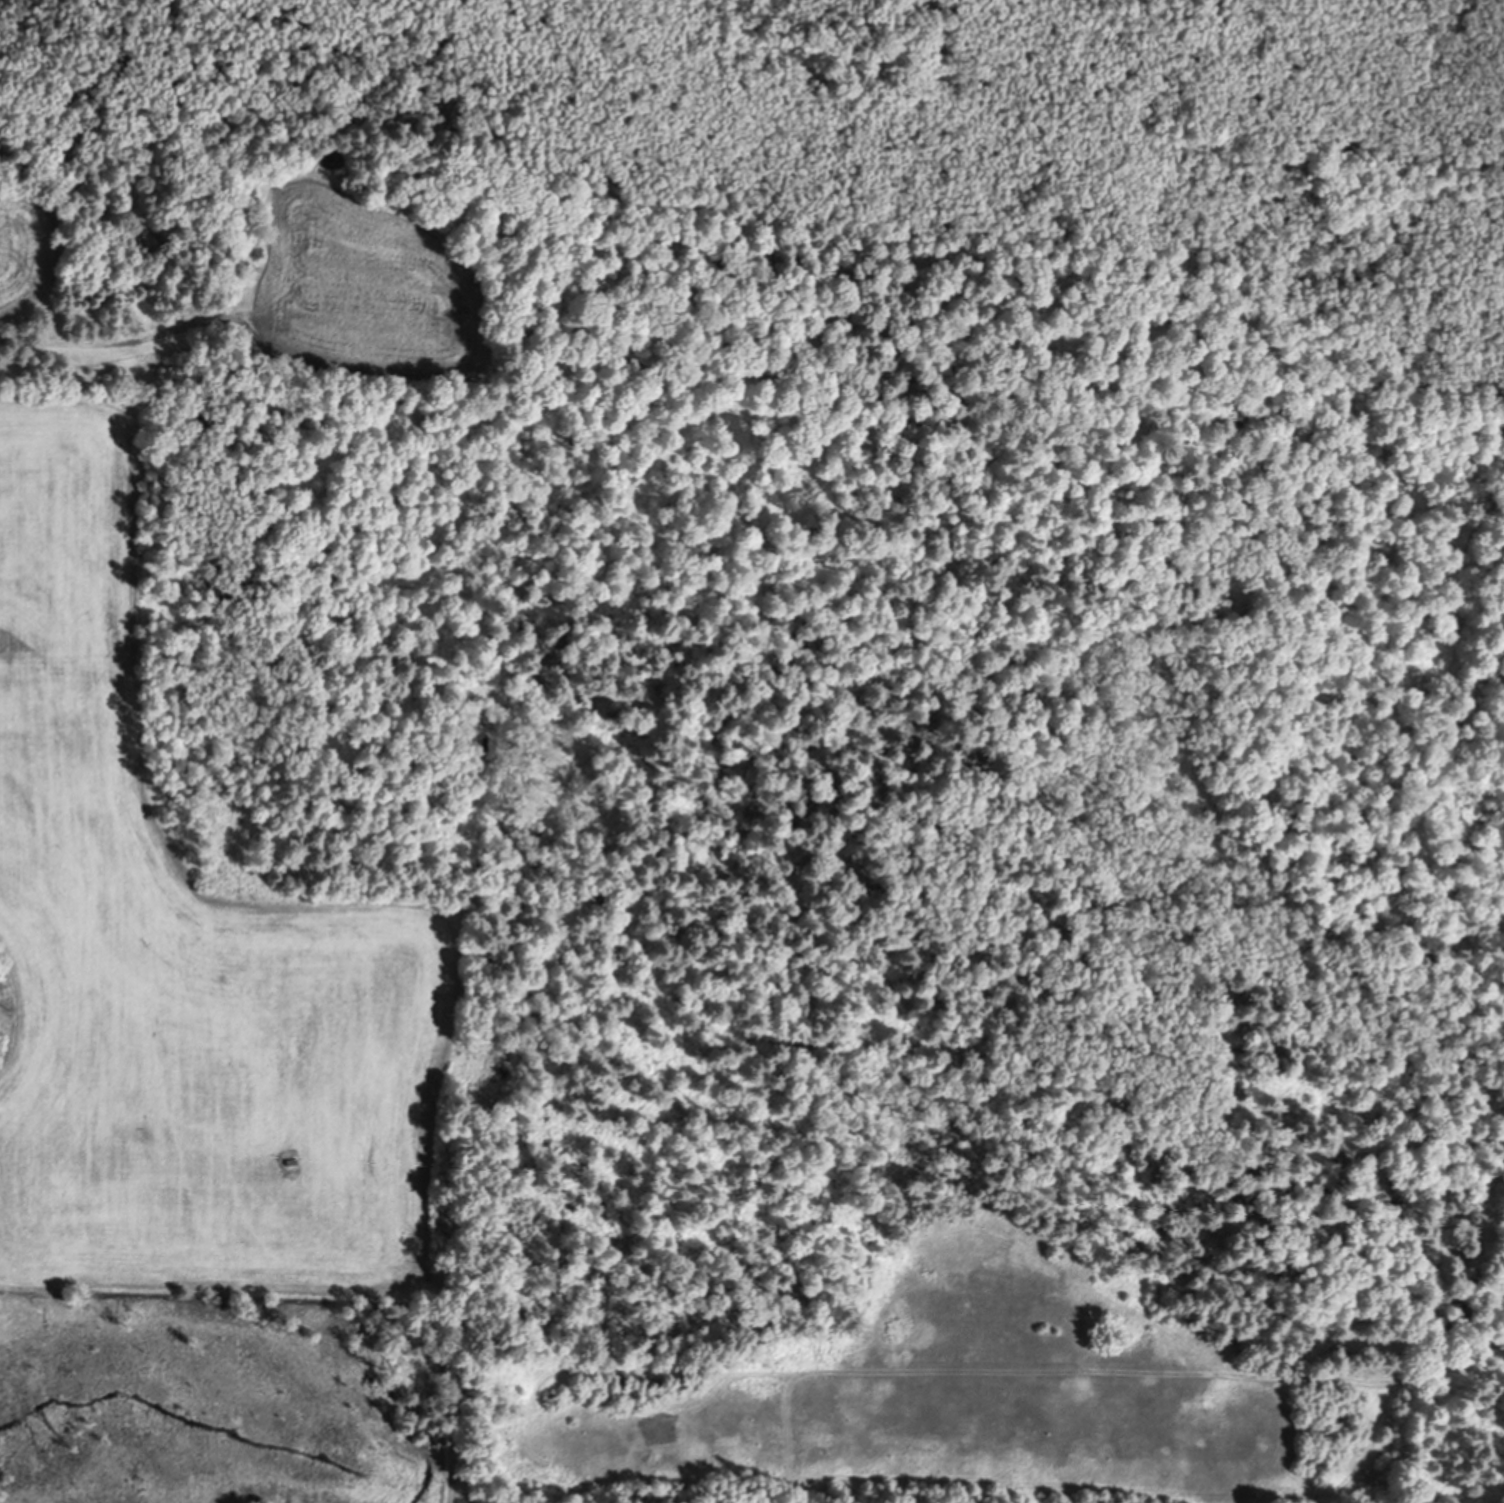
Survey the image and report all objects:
building: (292, 1159)

